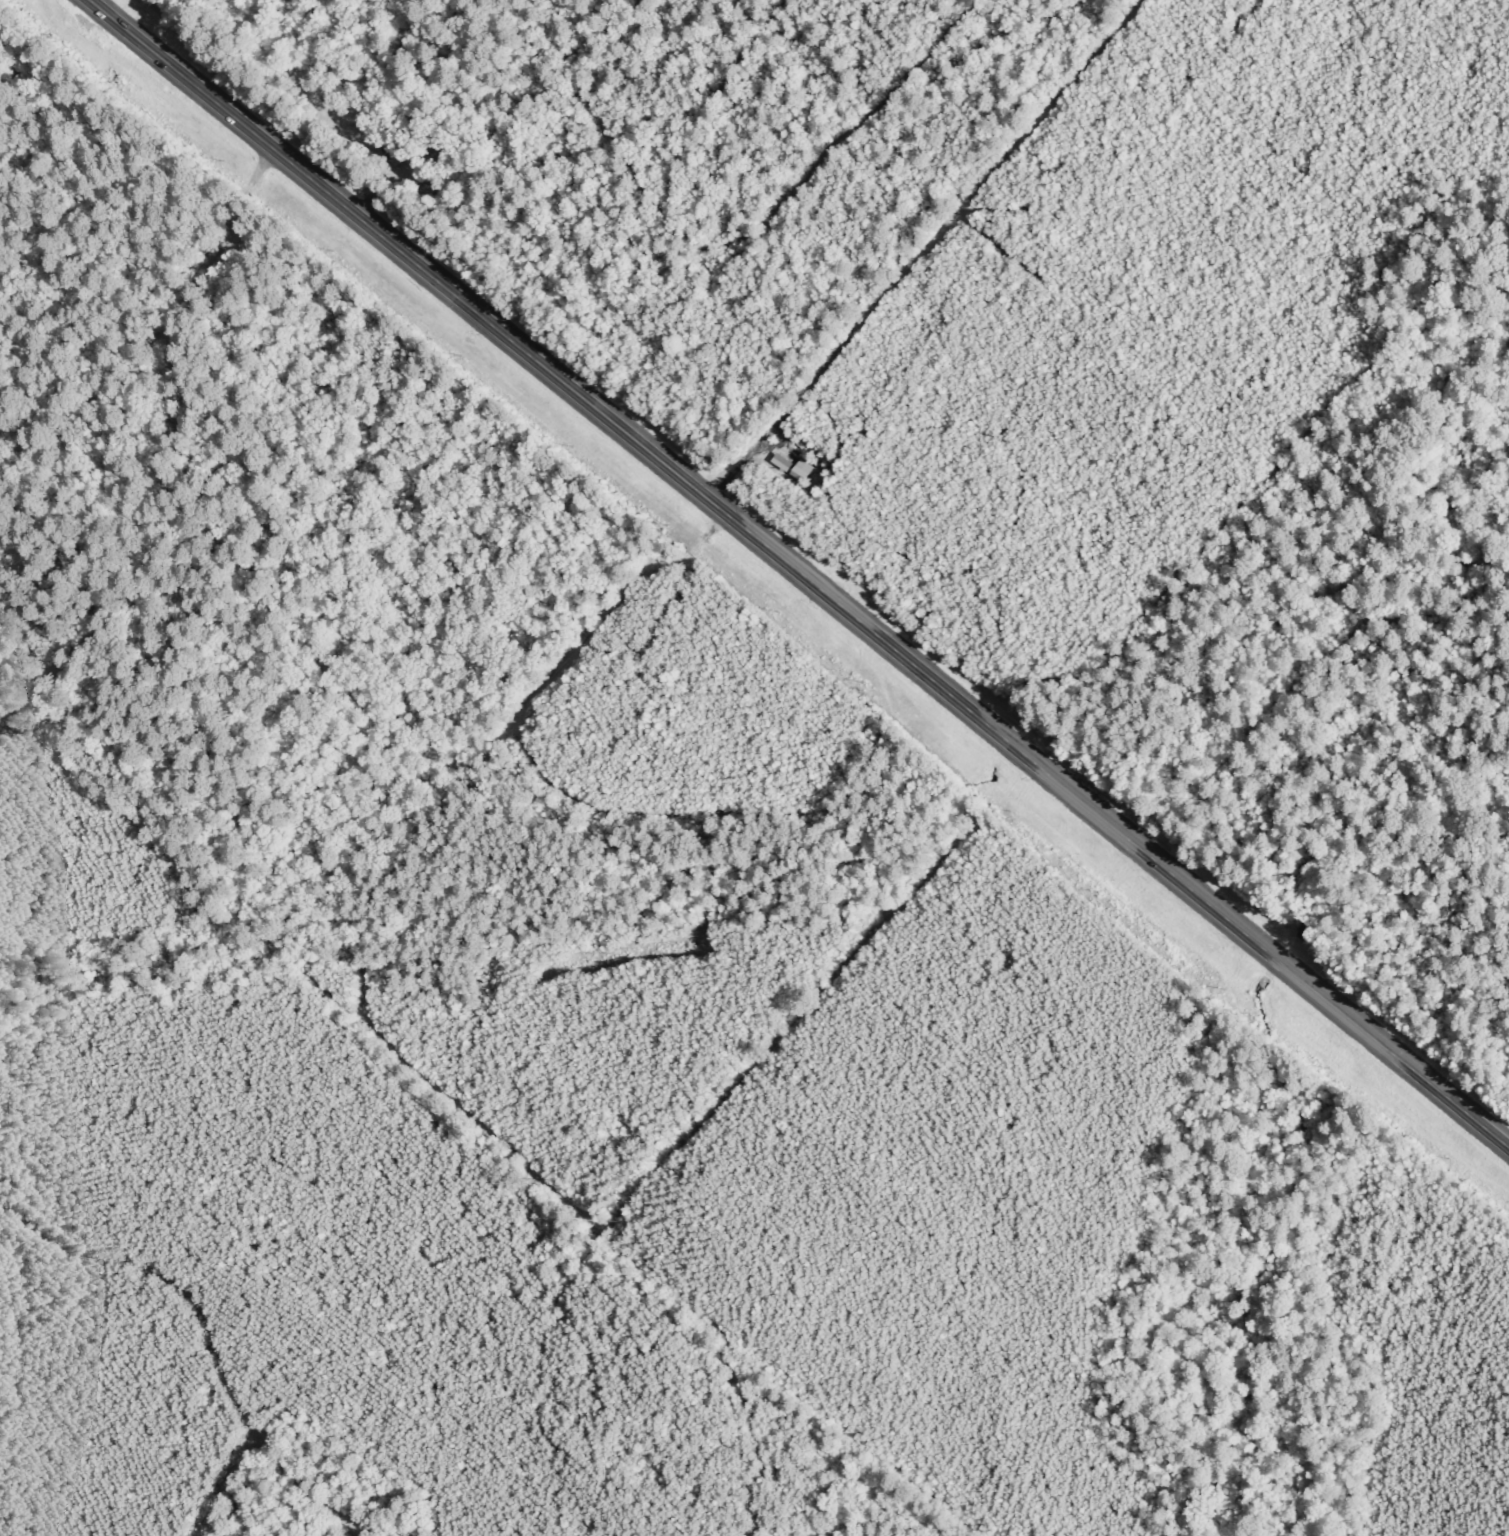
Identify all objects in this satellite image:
road: (798, 570)

